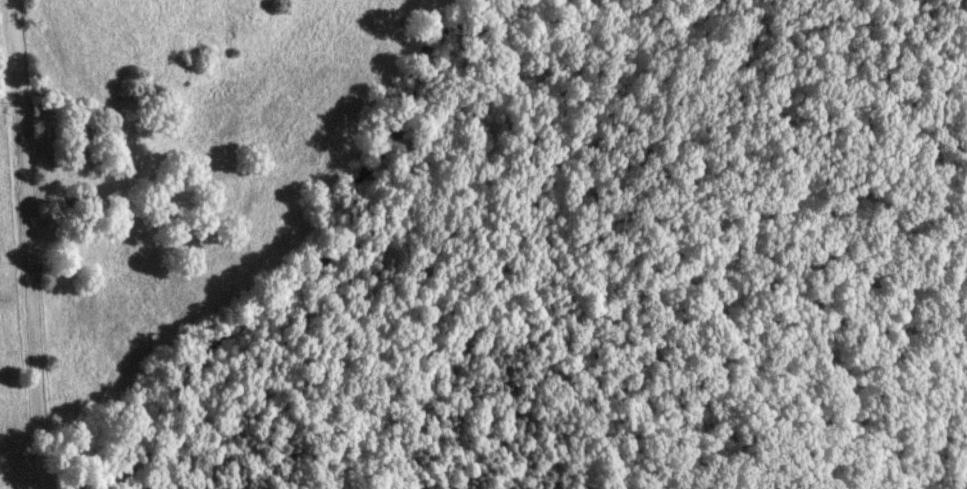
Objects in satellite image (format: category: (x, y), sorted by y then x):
road: (26, 245)

